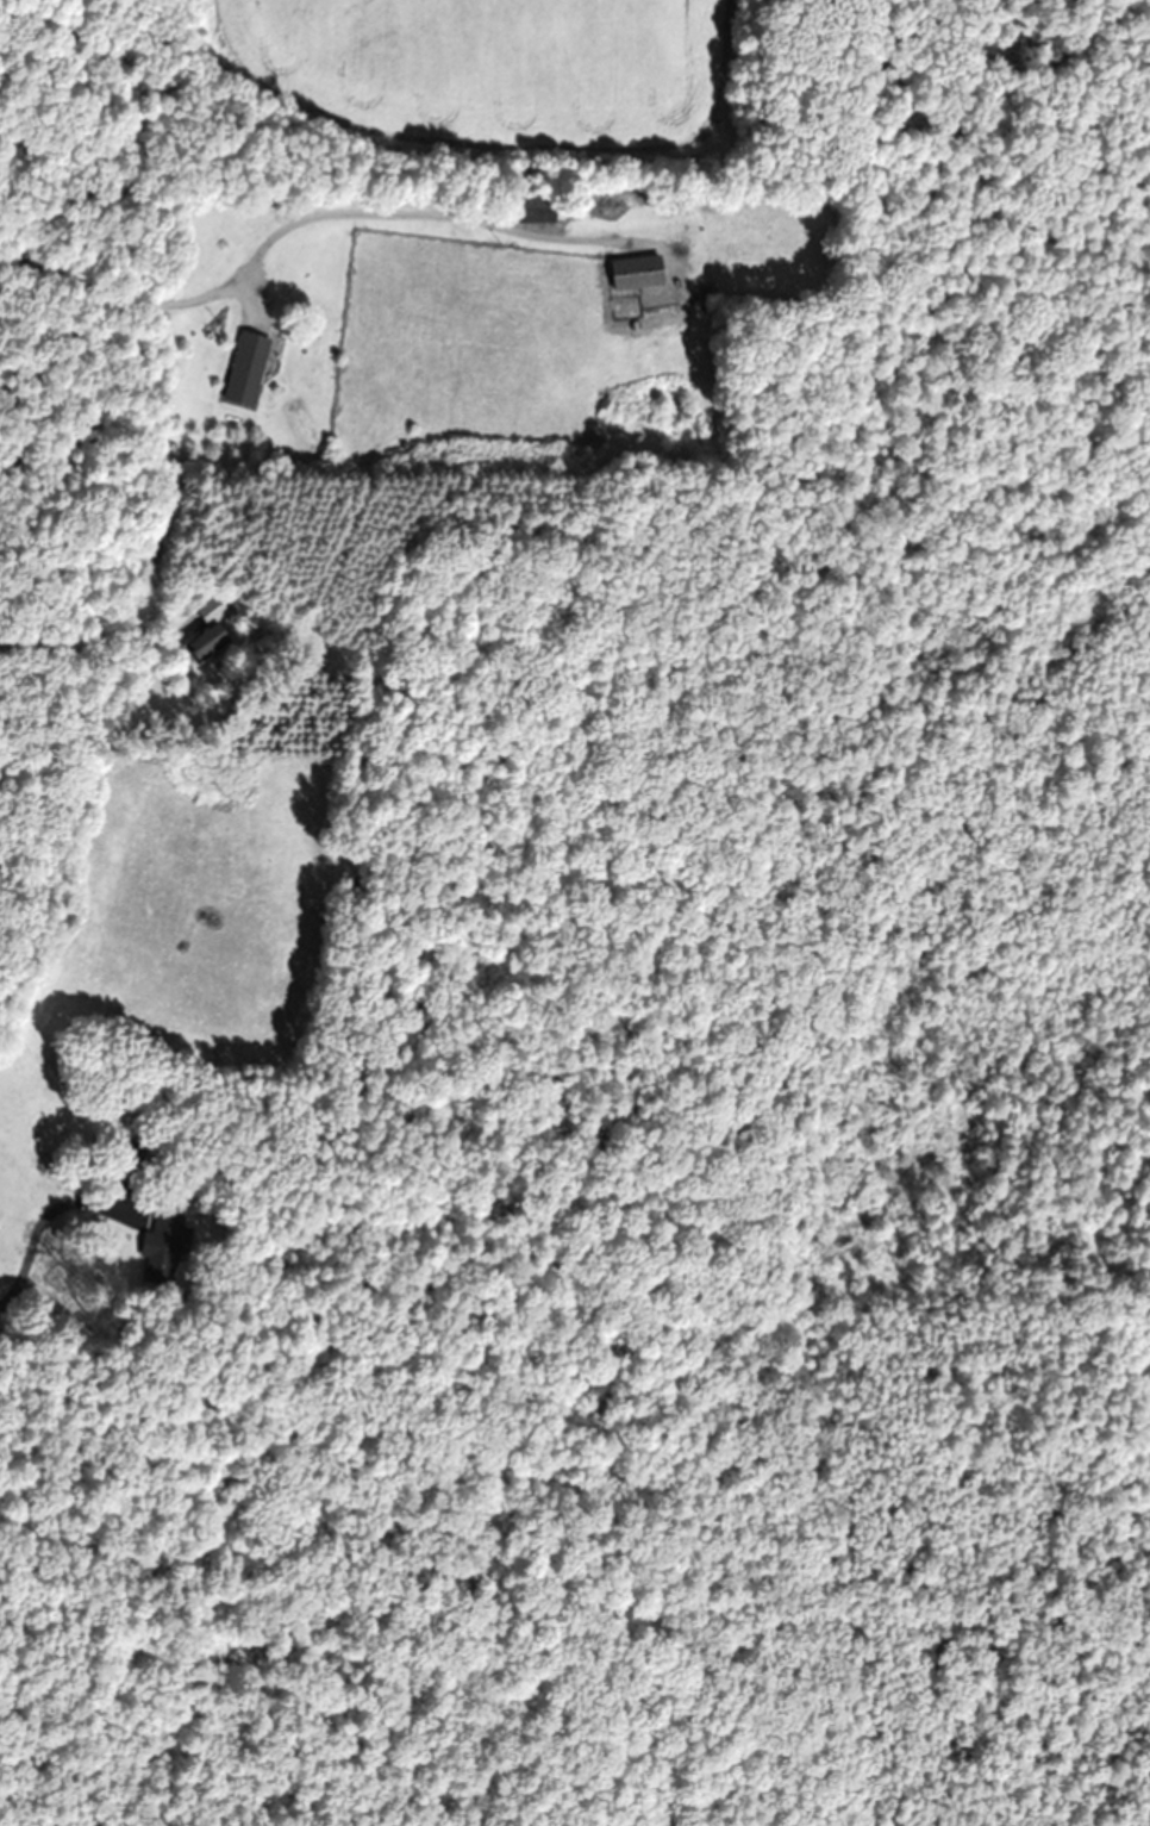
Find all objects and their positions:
building: (539, 207)
building: (639, 272)
building: (248, 368)
building: (212, 609)
building: (208, 643)
building: (137, 1154)
building: (163, 1245)

